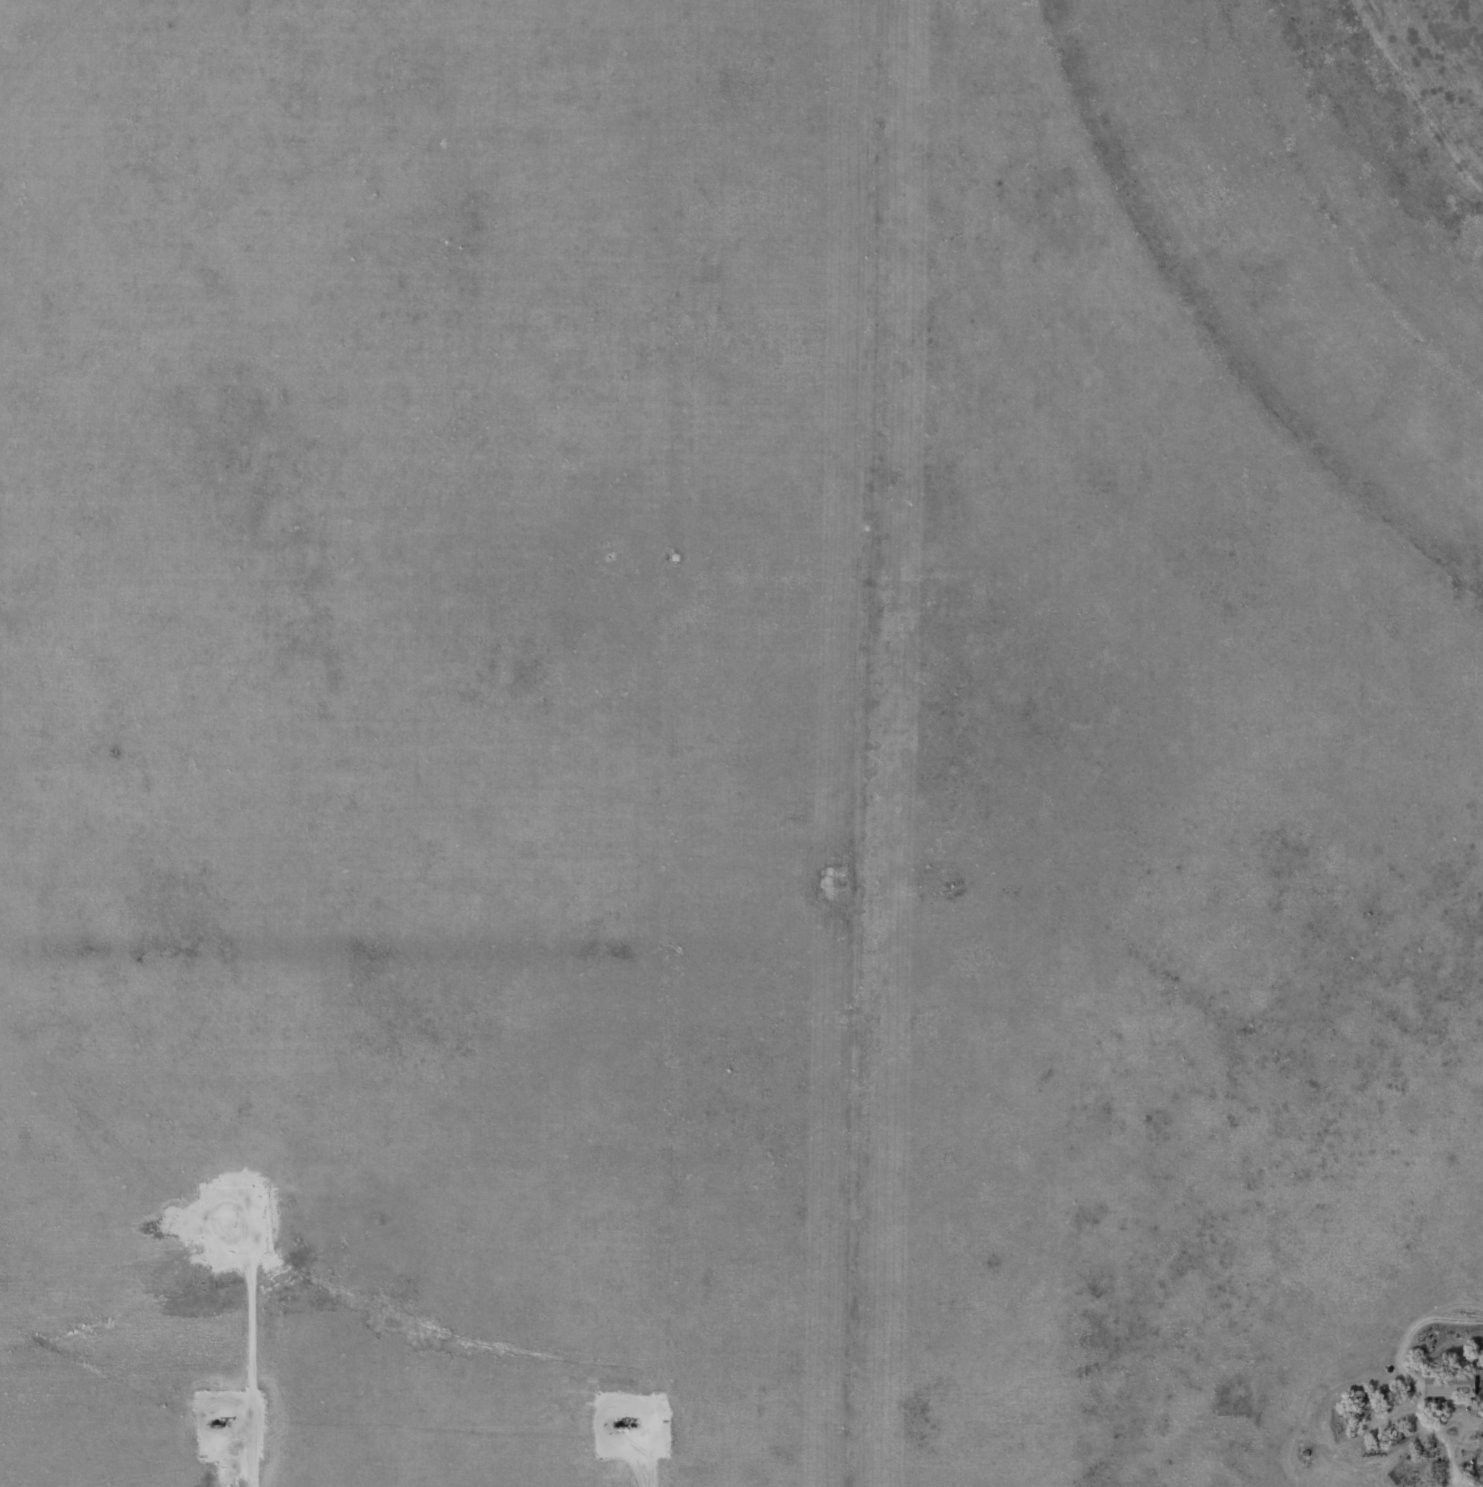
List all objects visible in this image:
building: (1450, 1384)

